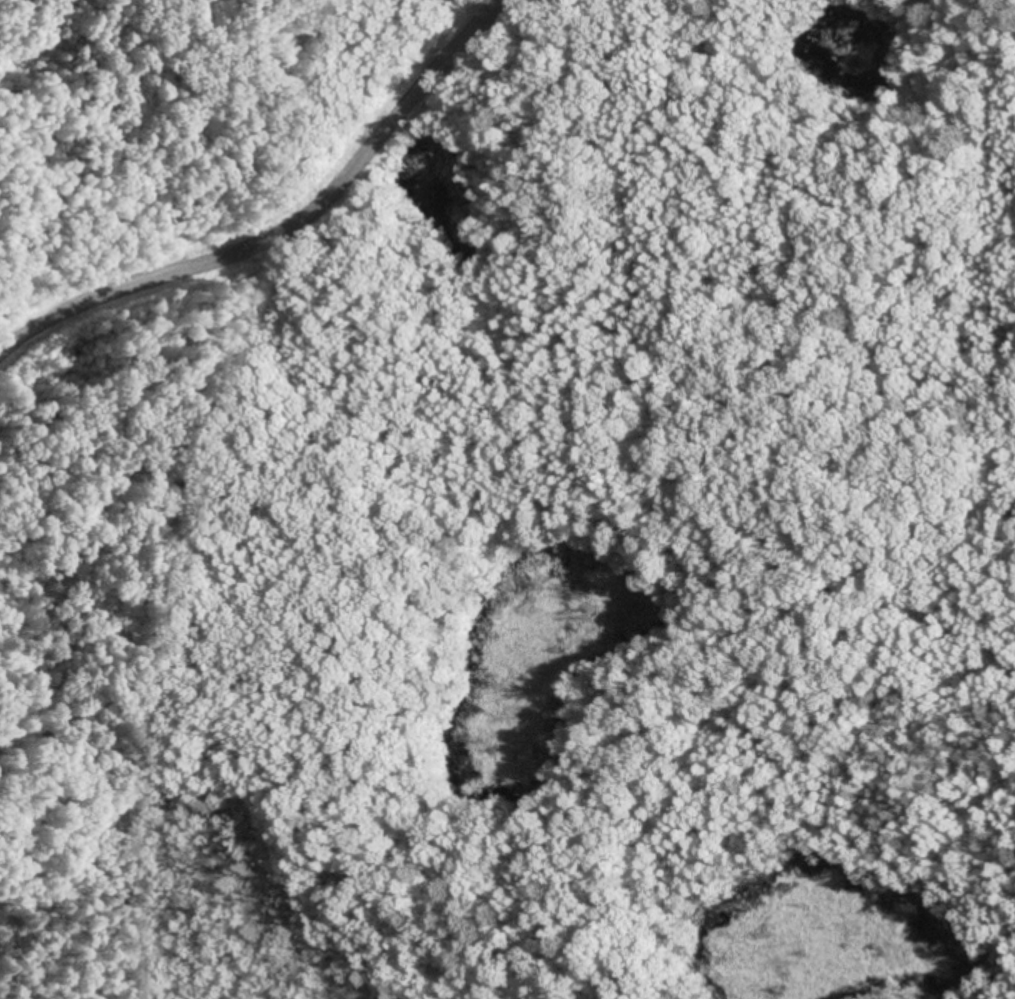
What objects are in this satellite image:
road: (287, 227)

